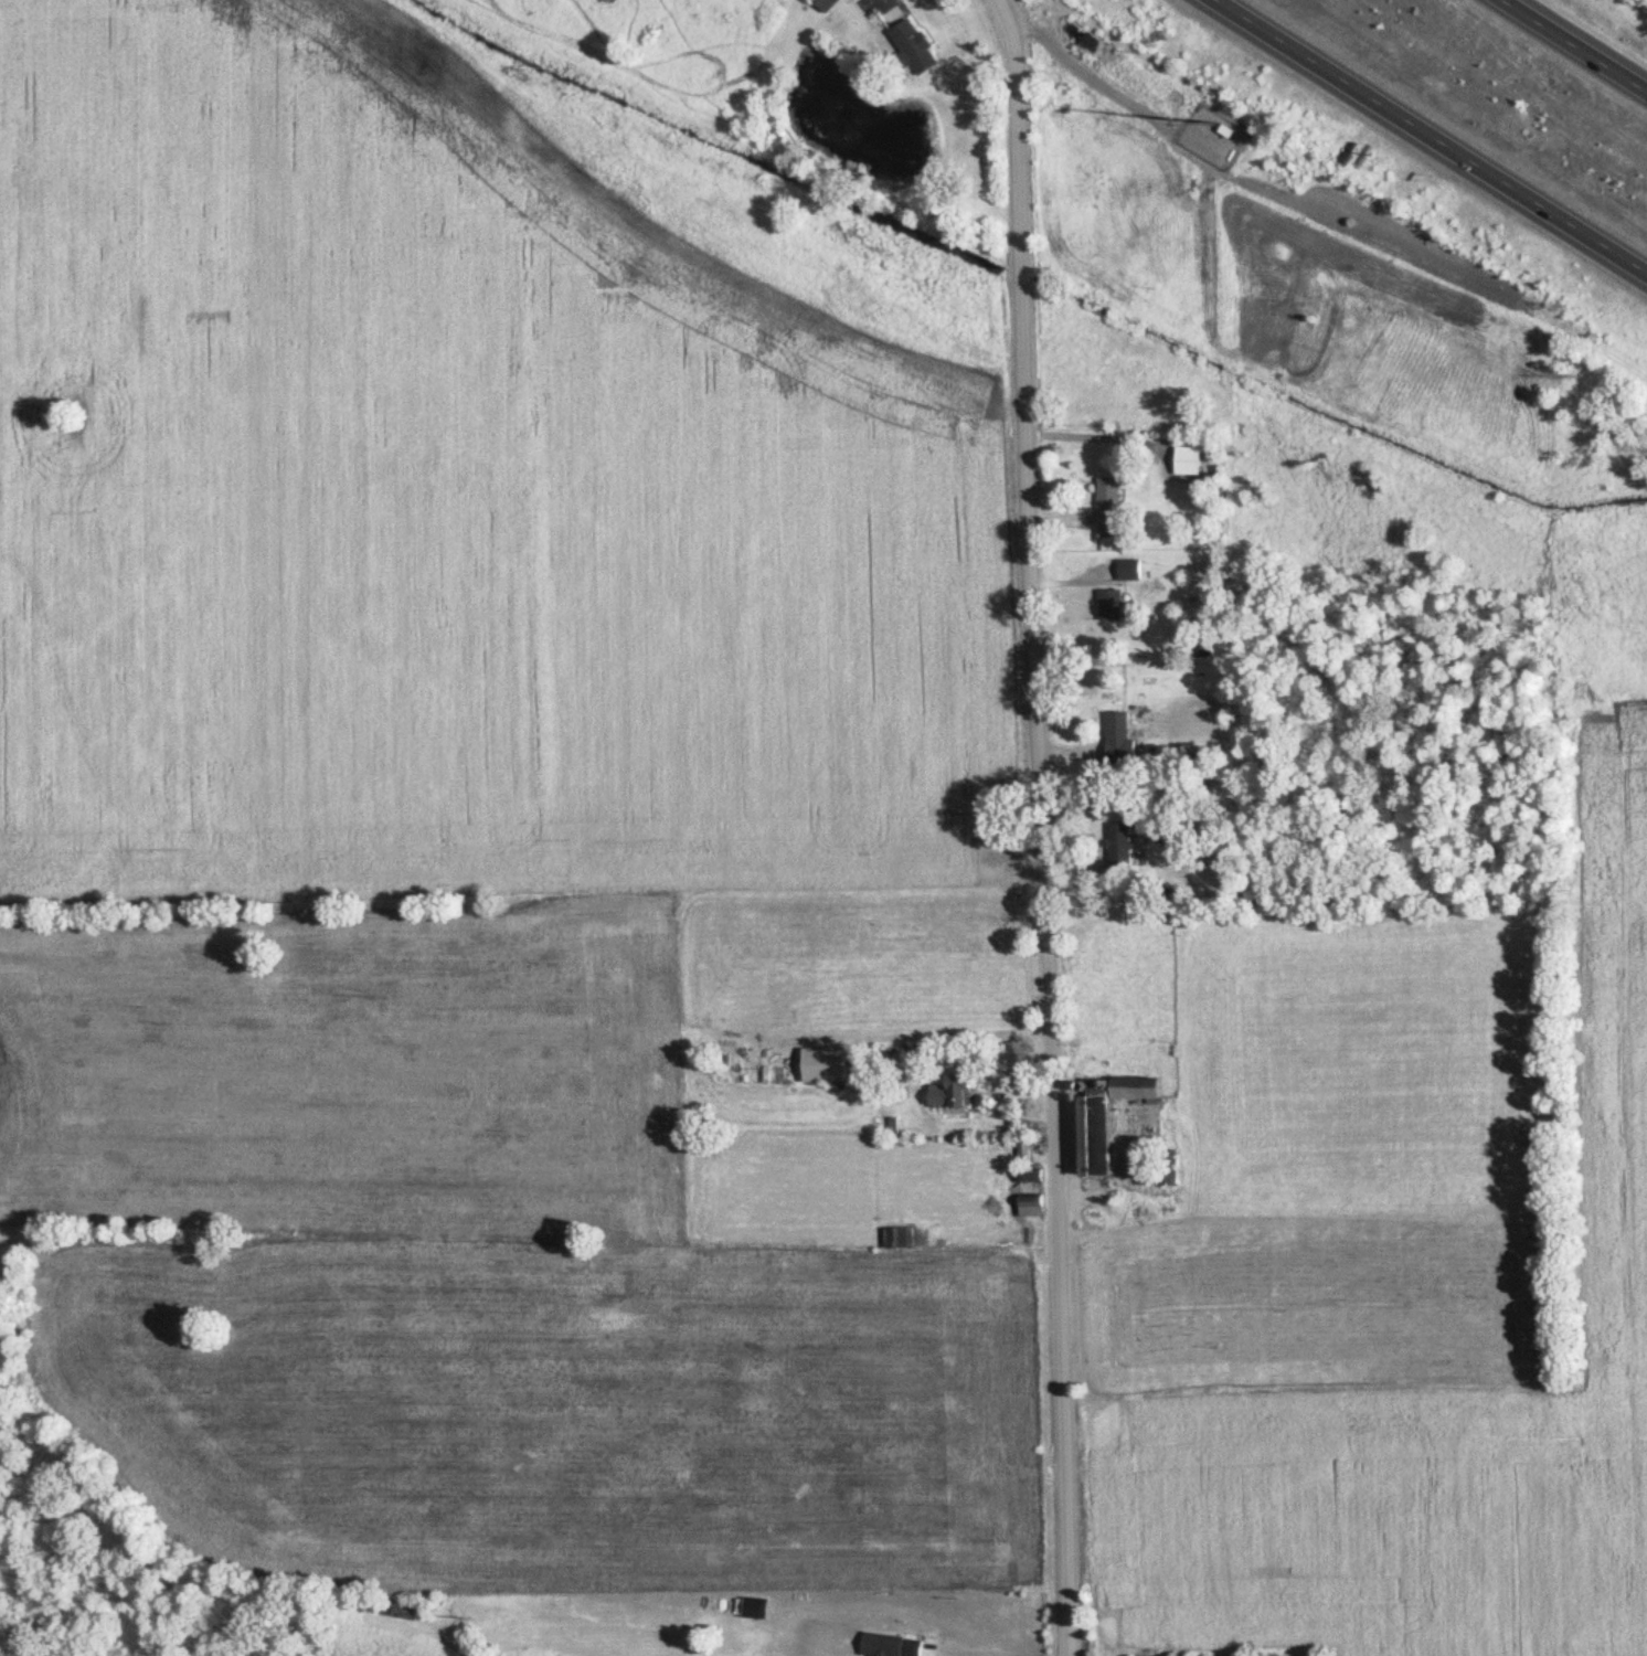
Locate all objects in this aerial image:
building: (826, 4)
road: (1575, 44)
building: (913, 46)
road: (1087, 64)
road: (1431, 138)
building: (1187, 458)
building: (1108, 501)
building: (1129, 569)
building: (1111, 605)
building: (1118, 737)
road: (1038, 826)
building: (1119, 846)
building: (1134, 1086)
building: (950, 1091)
building: (1092, 1134)
building: (1030, 1206)
building: (899, 1238)
building: (756, 1606)
building: (397, 1611)
building: (892, 1645)
road: (978, 1647)

